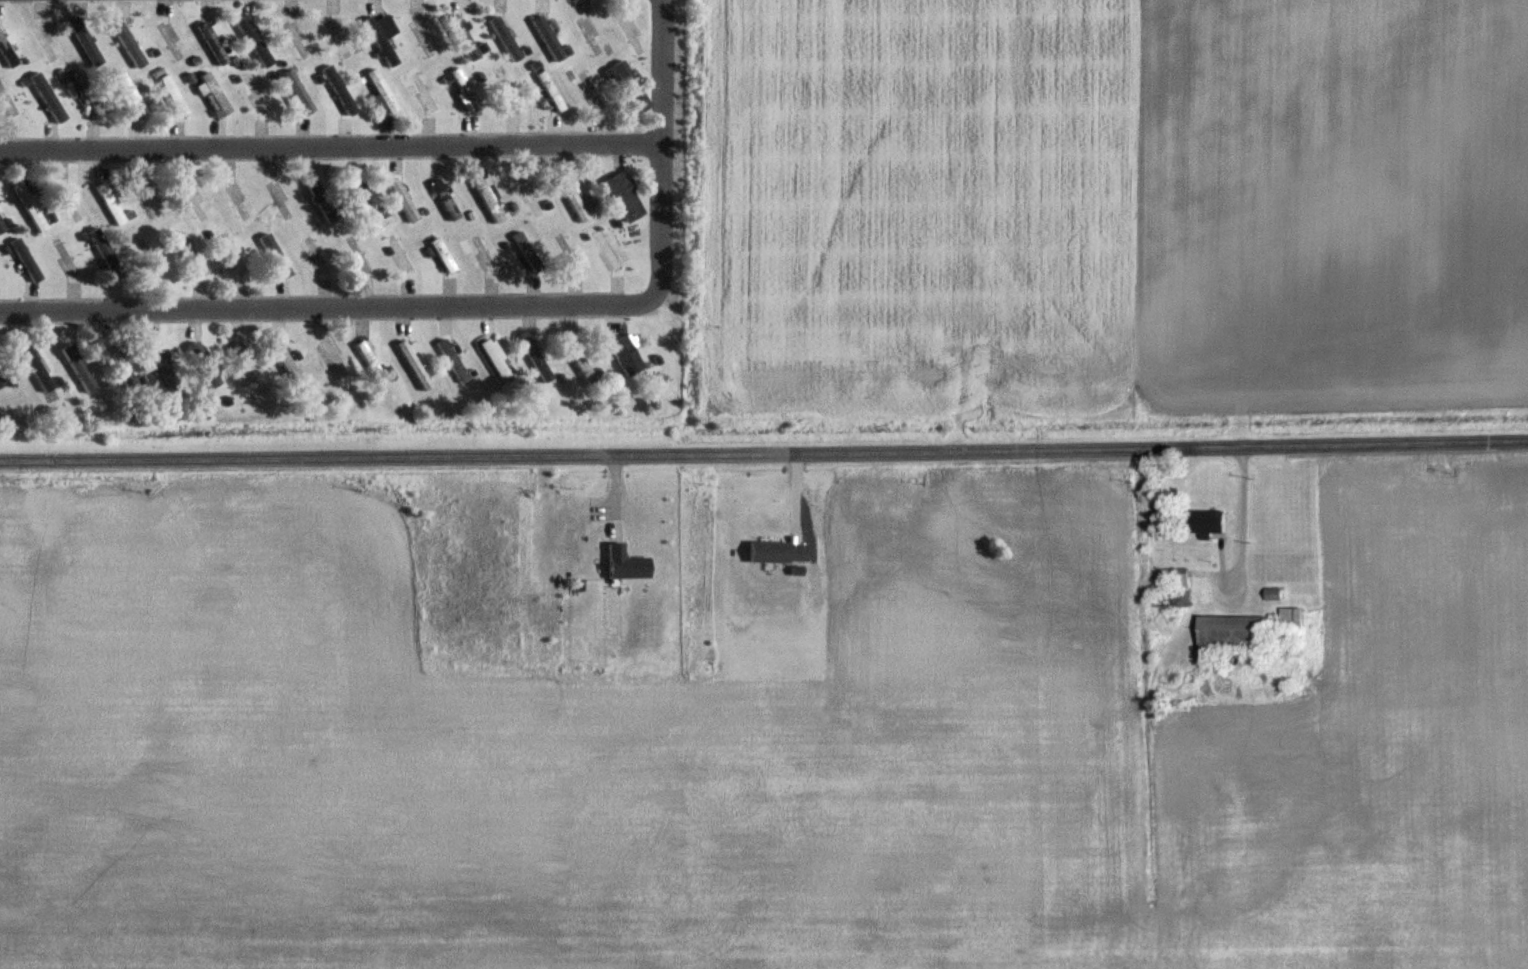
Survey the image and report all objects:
building: (631, 34)
building: (337, 35)
building: (590, 35)
building: (421, 36)
building: (462, 36)
building: (548, 37)
building: (296, 38)
building: (506, 38)
building: (84, 39)
building: (169, 40)
building: (380, 40)
building: (254, 41)
building: (129, 42)
building: (213, 42)
building: (45, 44)
building: (8, 51)
building: (194, 56)
building: (631, 84)
building: (508, 87)
building: (592, 87)
building: (425, 88)
building: (467, 88)
building: (339, 89)
building: (383, 89)
building: (552, 90)
building: (258, 91)
building: (299, 91)
building: (132, 92)
building: (217, 92)
building: (90, 93)
building: (174, 94)
building: (48, 96)
building: (10, 99)
road: (330, 147)
road: (661, 151)
building: (621, 194)
building: (531, 197)
building: (404, 198)
building: (445, 198)
building: (362, 199)
building: (489, 199)
building: (153, 200)
building: (575, 200)
building: (322, 201)
building: (110, 202)
building: (195, 202)
building: (237, 202)
building: (69, 204)
building: (30, 205)
building: (2, 225)
building: (104, 249)
building: (528, 250)
building: (610, 250)
building: (402, 251)
building: (192, 252)
building: (571, 252)
building: (486, 253)
building: (234, 254)
building: (320, 254)
building: (444, 254)
building: (152, 255)
building: (275, 255)
building: (25, 258)
building: (67, 265)
road: (325, 308)
building: (969, 324)
building: (333, 358)
building: (579, 358)
building: (621, 358)
building: (496, 359)
building: (537, 359)
building: (453, 360)
building: (244, 361)
building: (372, 361)
building: (119, 362)
building: (288, 362)
building: (35, 363)
building: (162, 364)
building: (415, 364)
building: (79, 366)
building: (203, 367)
building: (2, 381)
road: (764, 451)
road: (1239, 509)
building: (1215, 523)
building: (778, 552)
building: (626, 563)
building: (1188, 579)
building: (1294, 617)
building: (1239, 634)

